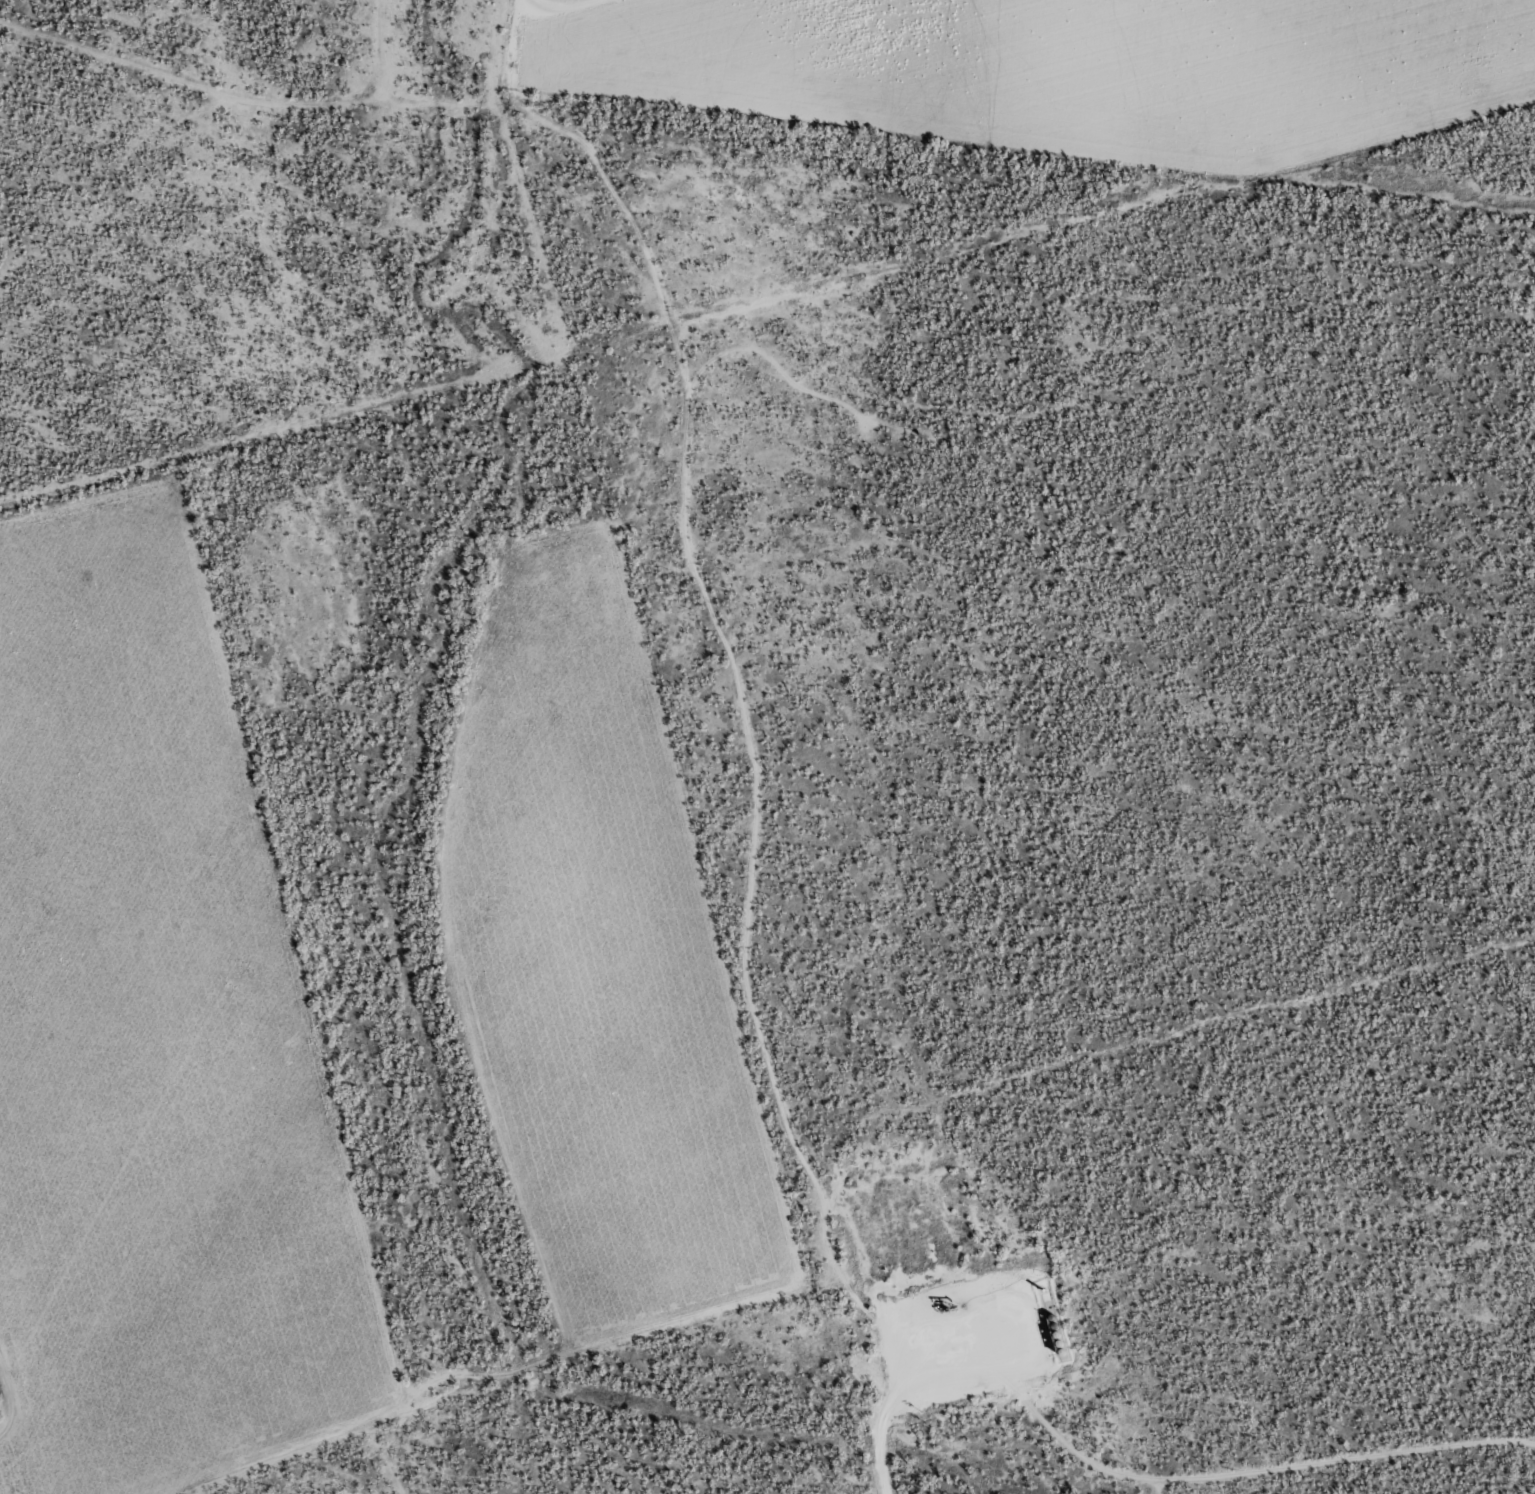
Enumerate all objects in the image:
road: (169, 444)

